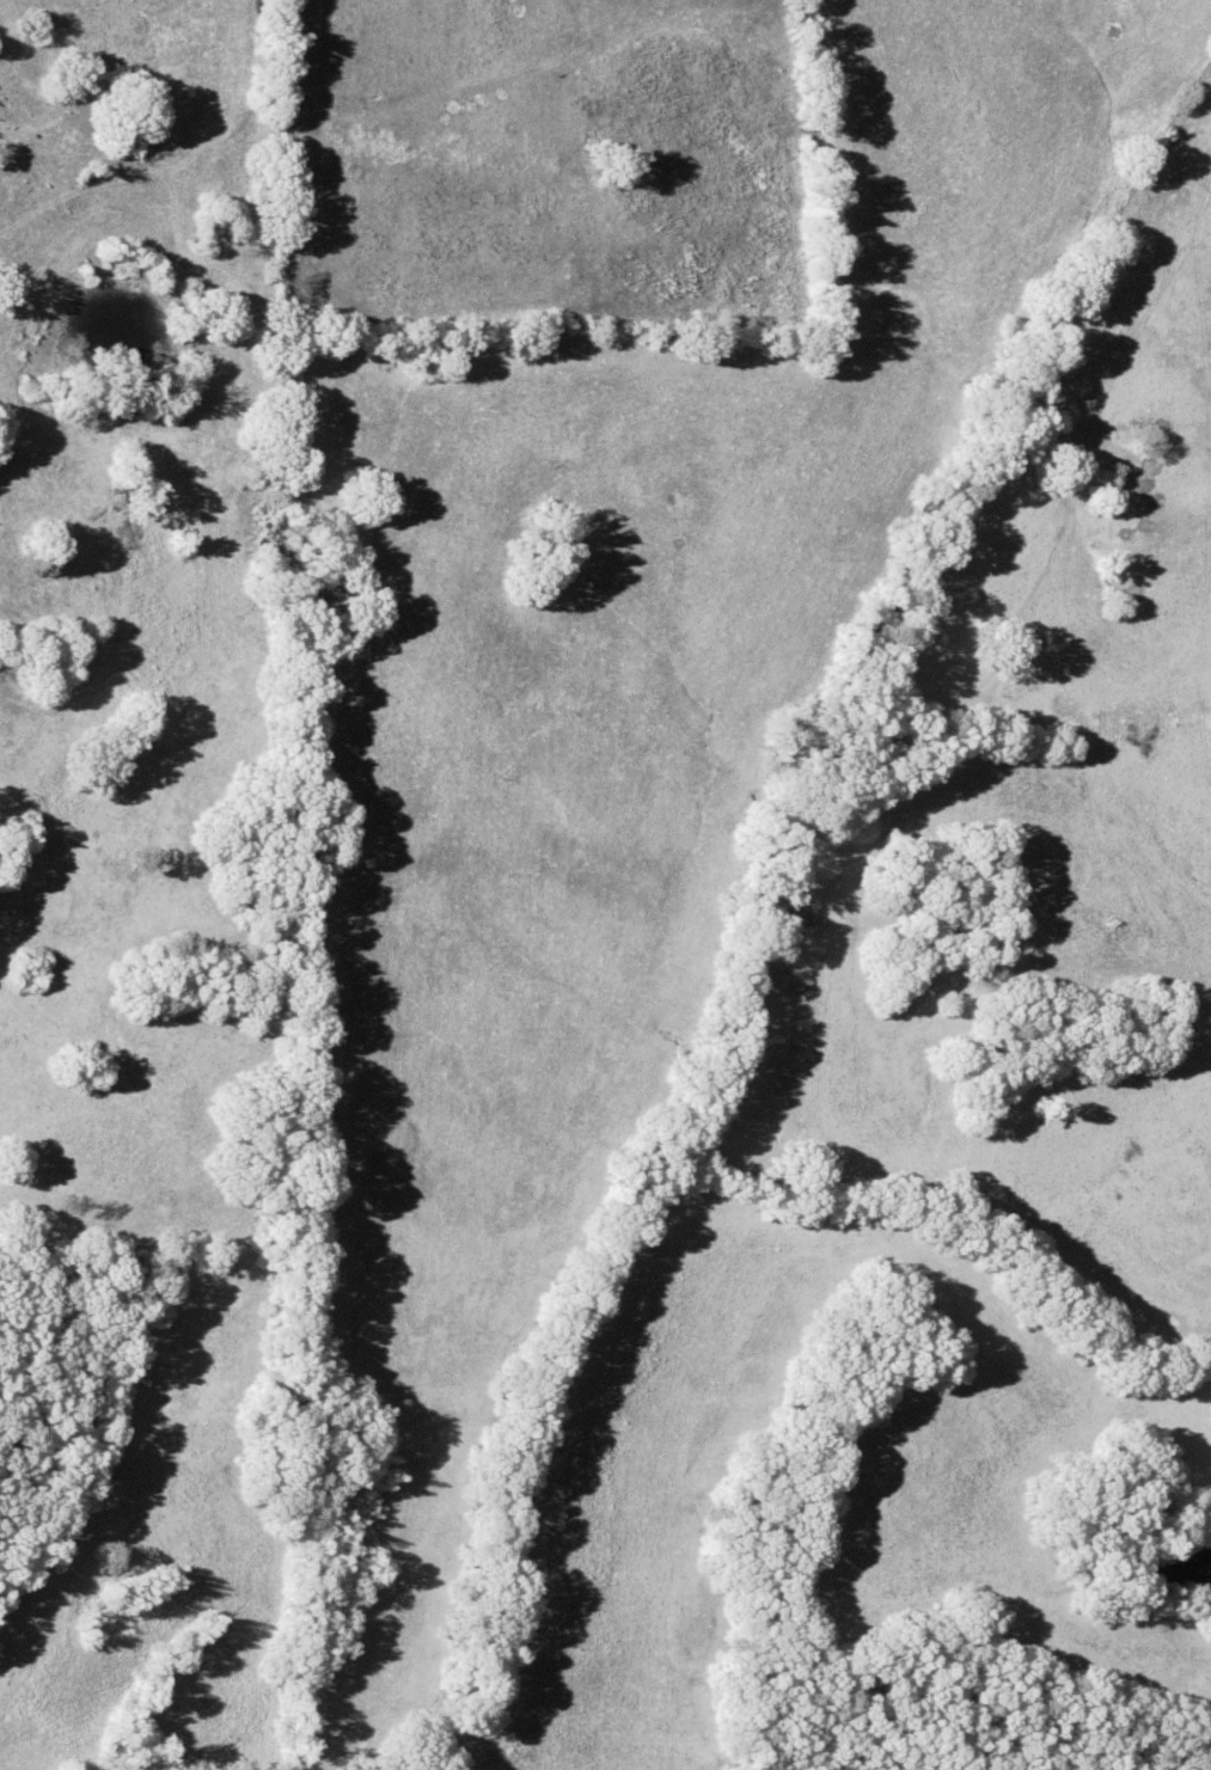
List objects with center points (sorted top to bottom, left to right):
road: (191, 209)
road: (276, 1689)

